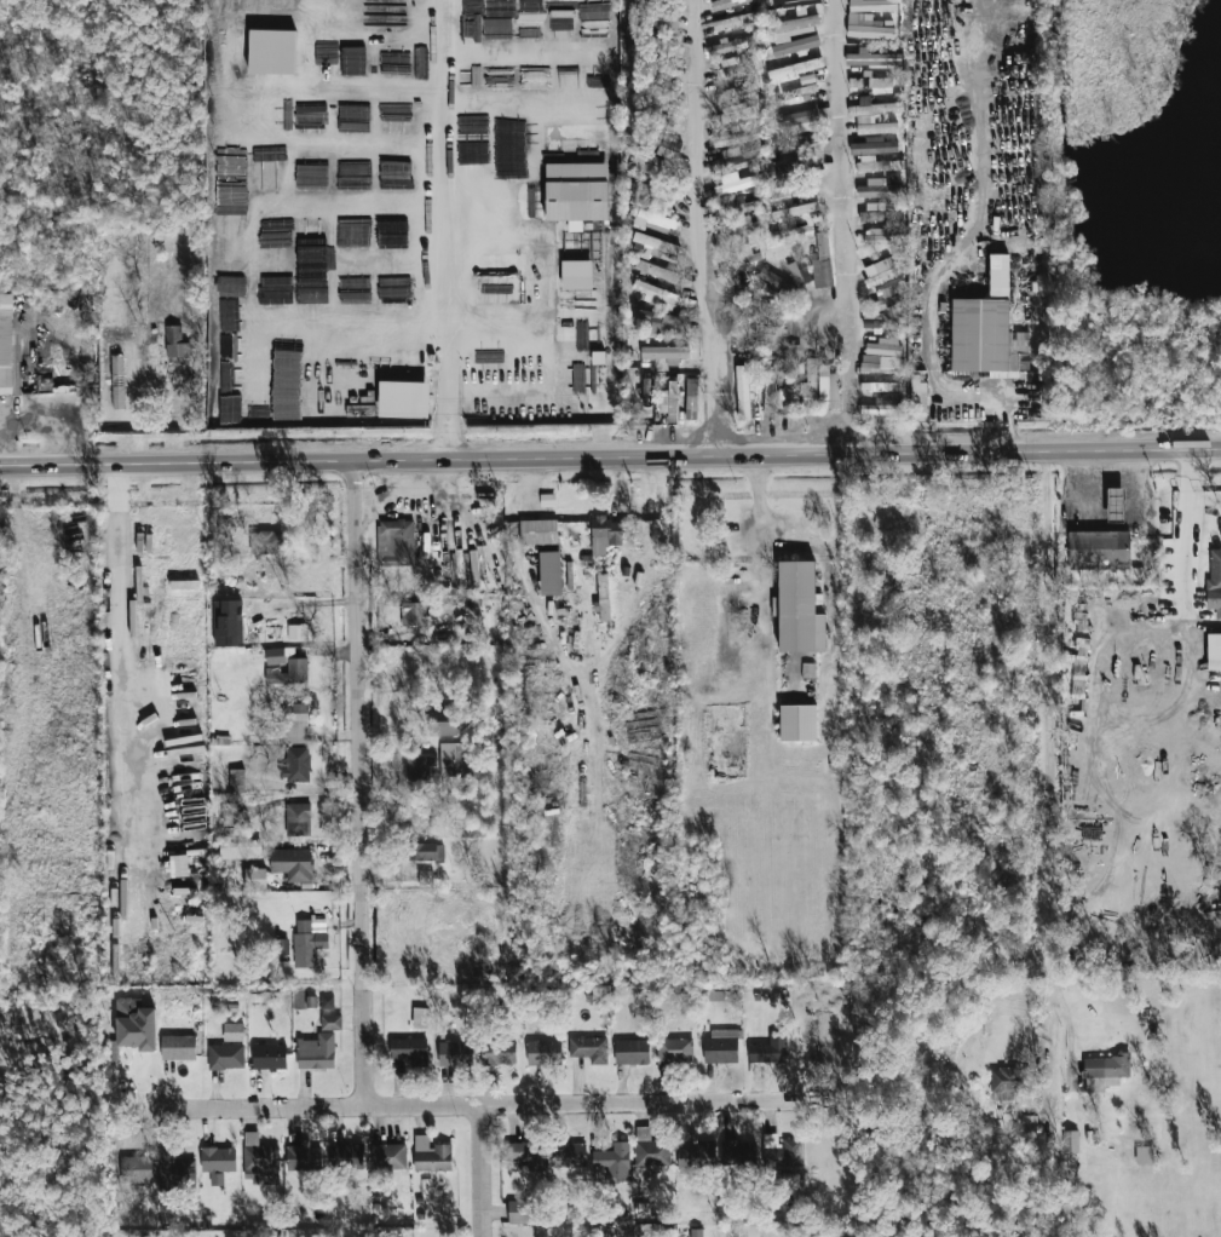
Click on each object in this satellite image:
building: (727, 4)
building: (790, 5)
building: (871, 5)
building: (328, 15)
building: (655, 15)
building: (228, 21)
building: (733, 22)
building: (869, 28)
building: (795, 34)
building: (653, 45)
building: (735, 45)
building: (872, 58)
building: (352, 61)
building: (732, 65)
building: (795, 68)
building: (806, 79)
building: (870, 81)
building: (736, 91)
building: (799, 91)
building: (874, 108)
building: (738, 113)
building: (796, 117)
building: (874, 126)
building: (738, 134)
building: (663, 142)
building: (800, 142)
building: (874, 146)
building: (731, 151)
building: (731, 161)
building: (646, 162)
building: (879, 165)
building: (736, 183)
building: (782, 191)
building: (879, 191)
building: (652, 199)
building: (575, 200)
building: (743, 205)
building: (875, 212)
building: (795, 214)
building: (656, 221)
road: (839, 226)
road: (447, 229)
road: (697, 229)
building: (741, 231)
building: (881, 237)
building: (656, 244)
road: (966, 257)
building: (822, 263)
building: (656, 271)
building: (880, 272)
building: (998, 275)
building: (776, 281)
building: (656, 294)
building: (768, 333)
building: (986, 338)
building: (6, 343)
building: (175, 343)
building: (883, 346)
building: (667, 355)
building: (577, 362)
building: (889, 362)
building: (65, 376)
building: (117, 382)
building: (790, 386)
building: (828, 387)
building: (808, 390)
building: (768, 391)
building: (742, 392)
building: (691, 393)
building: (917, 397)
building: (669, 401)
building: (401, 402)
building: (886, 405)
building: (230, 409)
road: (54, 421)
road: (610, 458)
building: (1115, 504)
road: (1188, 504)
building: (538, 531)
building: (605, 534)
road: (758, 541)
building: (266, 542)
building: (398, 543)
building: (1098, 550)
building: (551, 574)
road: (120, 576)
building: (1214, 582)
building: (799, 609)
building: (413, 614)
building: (296, 632)
building: (1214, 651)
building: (275, 656)
building: (289, 672)
building: (442, 721)
building: (294, 723)
building: (797, 723)
road: (1044, 756)
building: (456, 761)
building: (296, 764)
building: (417, 770)
building: (237, 778)
road: (359, 784)
building: (230, 815)
building: (298, 819)
building: (226, 834)
building: (241, 850)
building: (426, 851)
building: (292, 863)
building: (426, 876)
building: (255, 879)
building: (305, 944)
building: (281, 947)
building: (327, 1001)
building: (420, 1018)
building: (330, 1022)
building: (134, 1024)
road: (1064, 1029)
building: (234, 1031)
building: (721, 1046)
building: (178, 1047)
building: (589, 1049)
building: (674, 1049)
building: (770, 1049)
building: (409, 1051)
building: (316, 1052)
building: (545, 1052)
building: (632, 1052)
building: (455, 1053)
building: (497, 1053)
building: (225, 1057)
building: (269, 1057)
building: (1105, 1071)
building: (1007, 1082)
road: (505, 1104)
building: (1030, 1122)
building: (1070, 1141)
building: (650, 1149)
building: (781, 1151)
building: (526, 1152)
building: (738, 1152)
building: (570, 1153)
building: (431, 1155)
building: (1144, 1155)
building: (346, 1156)
building: (697, 1156)
building: (388, 1157)
building: (301, 1158)
building: (218, 1160)
building: (259, 1160)
building: (614, 1162)
building: (136, 1169)
building: (175, 1170)
road: (480, 1170)
building: (519, 1212)
building: (696, 1232)

